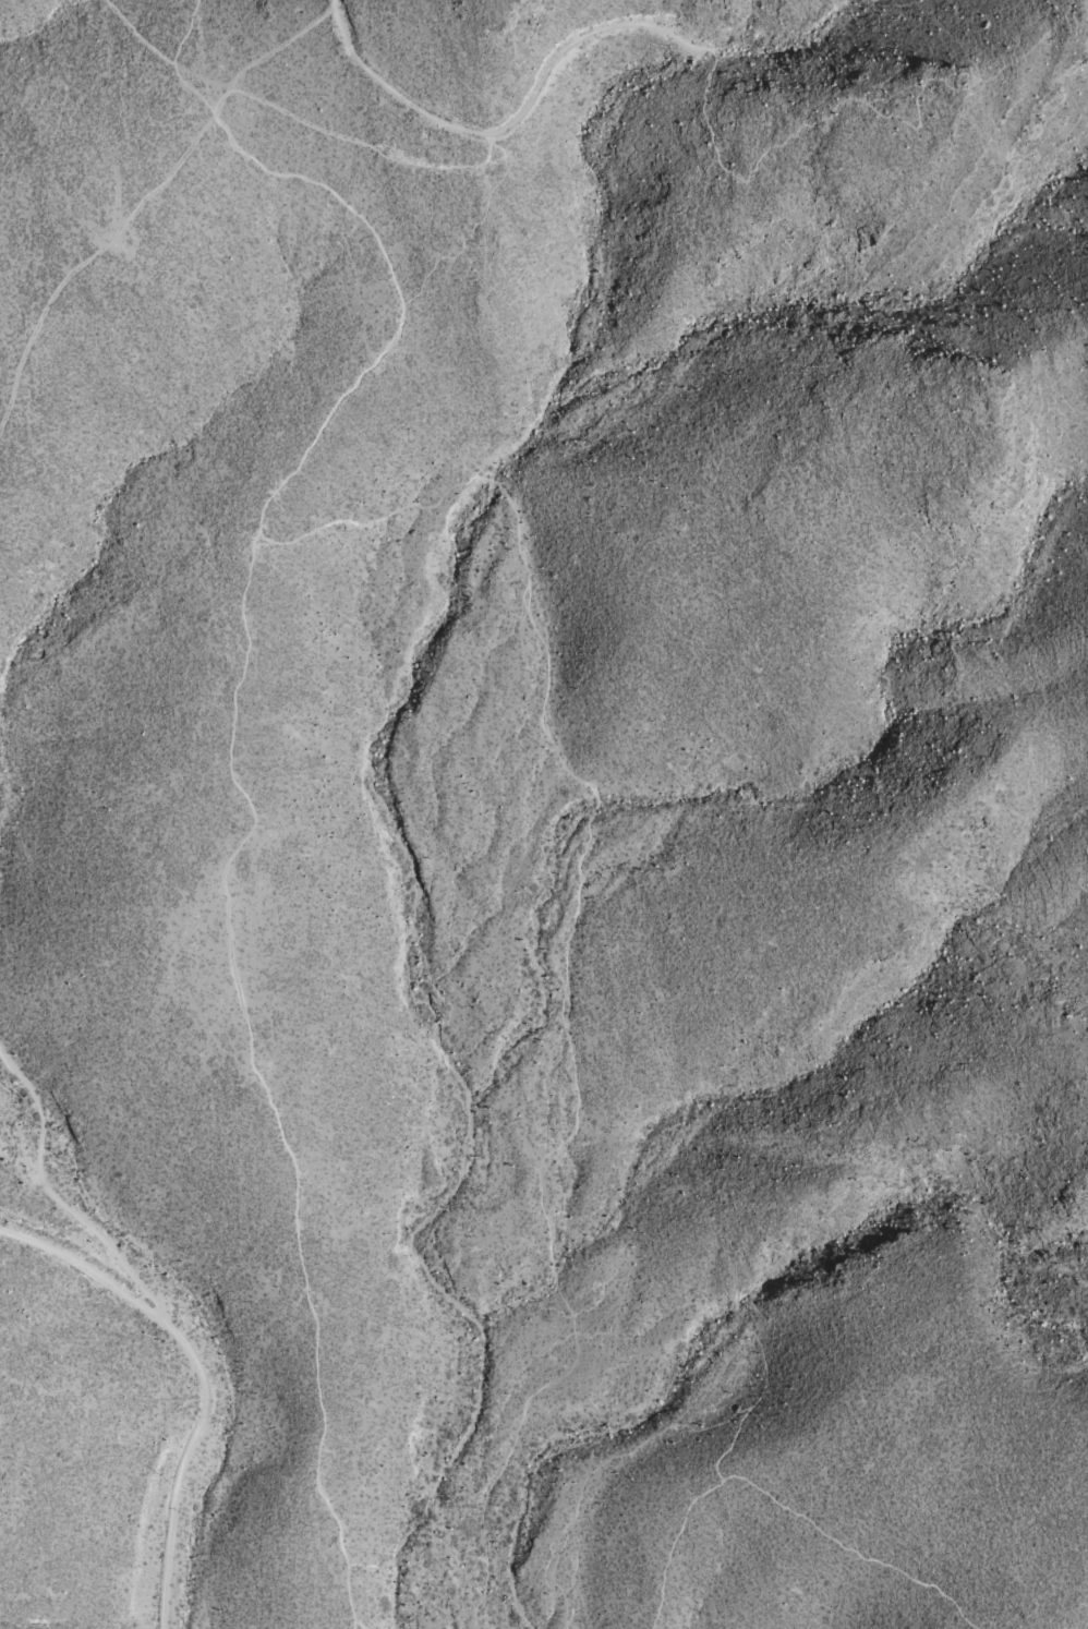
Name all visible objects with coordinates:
road: (865, 102)
road: (289, 120)
road: (517, 122)
road: (145, 203)
road: (228, 748)
road: (570, 940)
road: (81, 1267)
road: (166, 1319)
road: (786, 1508)
road: (1064, 1626)

